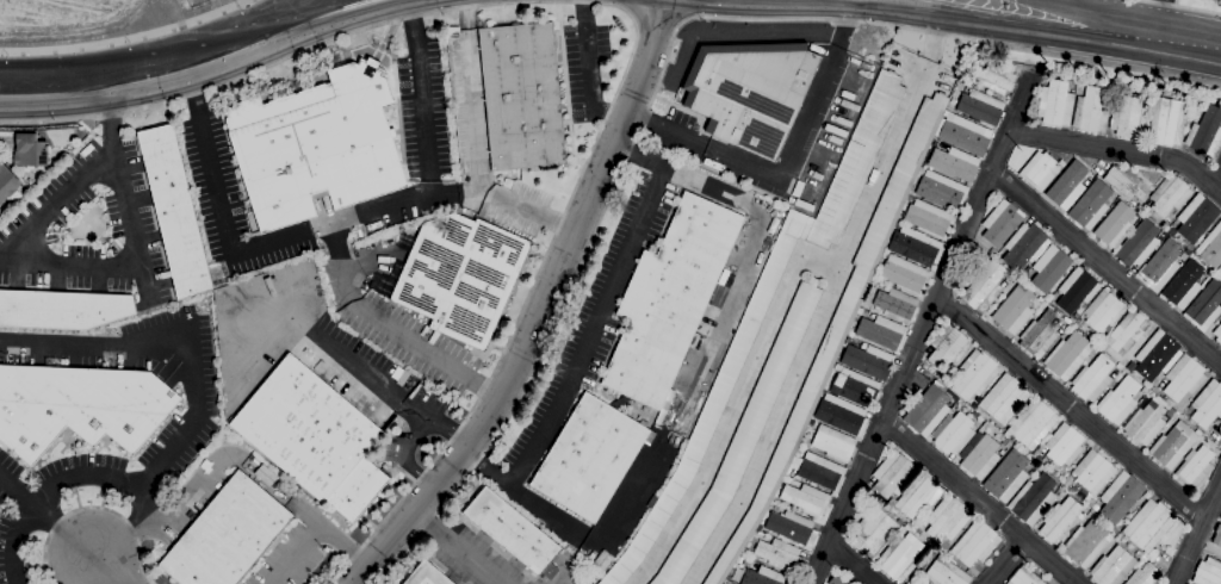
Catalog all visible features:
road: (824, 0)
road: (893, 2)
road: (1014, 2)
road: (1031, 2)
road: (1182, 6)
road: (1147, 12)
road: (631, 17)
road: (959, 18)
road: (1028, 18)
road: (1126, 20)
road: (1163, 26)
road: (120, 37)
road: (1123, 46)
road: (159, 56)
building: (974, 58)
road: (664, 67)
building: (1010, 67)
road: (204, 69)
road: (587, 73)
building: (993, 77)
building: (1096, 80)
building: (1124, 86)
building: (750, 92)
road: (473, 94)
road: (421, 97)
building: (522, 97)
building: (1184, 97)
building: (1055, 102)
building: (981, 106)
road: (106, 107)
building: (1091, 110)
building: (948, 114)
building: (1129, 117)
building: (1167, 120)
building: (1205, 131)
building: (966, 135)
building: (316, 145)
building: (30, 150)
road: (1118, 150)
building: (955, 163)
road: (786, 166)
building: (1040, 169)
building: (1124, 181)
building: (7, 182)
road: (984, 186)
building: (941, 190)
building: (1067, 190)
road: (218, 192)
road: (446, 194)
building: (1170, 194)
road: (57, 201)
building: (1091, 205)
building: (1145, 209)
building: (175, 211)
building: (1196, 217)
building: (929, 218)
building: (1002, 223)
building: (1115, 224)
building: (1172, 228)
building: (1163, 235)
building: (1139, 244)
building: (1024, 246)
building: (916, 247)
building: (1213, 247)
building: (992, 251)
building: (1160, 265)
road: (132, 266)
road: (1105, 266)
building: (1050, 267)
building: (905, 274)
building: (460, 277)
building: (984, 284)
building: (1184, 284)
building: (1077, 290)
road: (831, 296)
building: (1054, 296)
building: (670, 299)
building: (1040, 299)
building: (895, 304)
building: (1204, 305)
building: (62, 309)
road: (541, 310)
building: (1015, 310)
building: (1103, 311)
building: (1068, 322)
building: (1079, 323)
building: (838, 324)
road: (391, 327)
road: (593, 329)
building: (1127, 330)
building: (882, 331)
building: (1217, 333)
building: (1040, 334)
building: (1104, 346)
building: (948, 347)
building: (1068, 354)
building: (1155, 355)
building: (733, 359)
road: (352, 360)
building: (868, 360)
building: (925, 365)
building: (1118, 366)
building: (974, 374)
building: (1184, 377)
building: (1092, 378)
building: (950, 381)
building: (854, 386)
building: (1142, 392)
building: (952, 394)
building: (1004, 399)
road: (736, 400)
building: (1118, 400)
building: (1145, 400)
building: (1169, 402)
building: (1207, 404)
building: (79, 406)
road: (1071, 408)
building: (925, 410)
building: (1170, 412)
building: (974, 414)
building: (1176, 414)
building: (842, 415)
building: (1033, 423)
building: (1145, 423)
building: (812, 424)
road: (188, 429)
building: (953, 433)
building: (743, 435)
building: (314, 437)
road: (873, 439)
building: (833, 442)
building: (1174, 443)
building: (1064, 445)
road: (407, 454)
building: (979, 455)
building: (590, 456)
building: (1037, 459)
building: (1033, 464)
building: (1195, 466)
building: (1093, 471)
building: (822, 472)
building: (792, 473)
building: (893, 474)
building: (1006, 476)
road: (51, 489)
building: (1072, 489)
building: (1058, 492)
building: (917, 495)
building: (1121, 496)
building: (1033, 498)
building: (806, 499)
building: (776, 501)
building: (652, 502)
road: (980, 502)
road: (93, 507)
building: (1095, 507)
building: (947, 518)
building: (1061, 520)
building: (1220, 520)
building: (1148, 524)
building: (792, 527)
building: (907, 527)
road: (316, 529)
building: (1112, 529)
building: (513, 532)
building: (875, 532)
building: (761, 534)
building: (228, 535)
road: (1197, 535)
building: (1215, 541)
building: (975, 542)
building: (1086, 542)
road: (457, 547)
building: (1139, 553)
building: (780, 554)
building: (899, 557)
road: (1006, 561)
building: (1112, 566)
road: (83, 569)
road: (110, 569)
building: (1208, 571)
building: (946, 572)
building: (1143, 574)
building: (426, 576)
building: (764, 577)
building: (1025, 577)
building: (836, 580)
building: (918, 582)
building: (909, 583)

